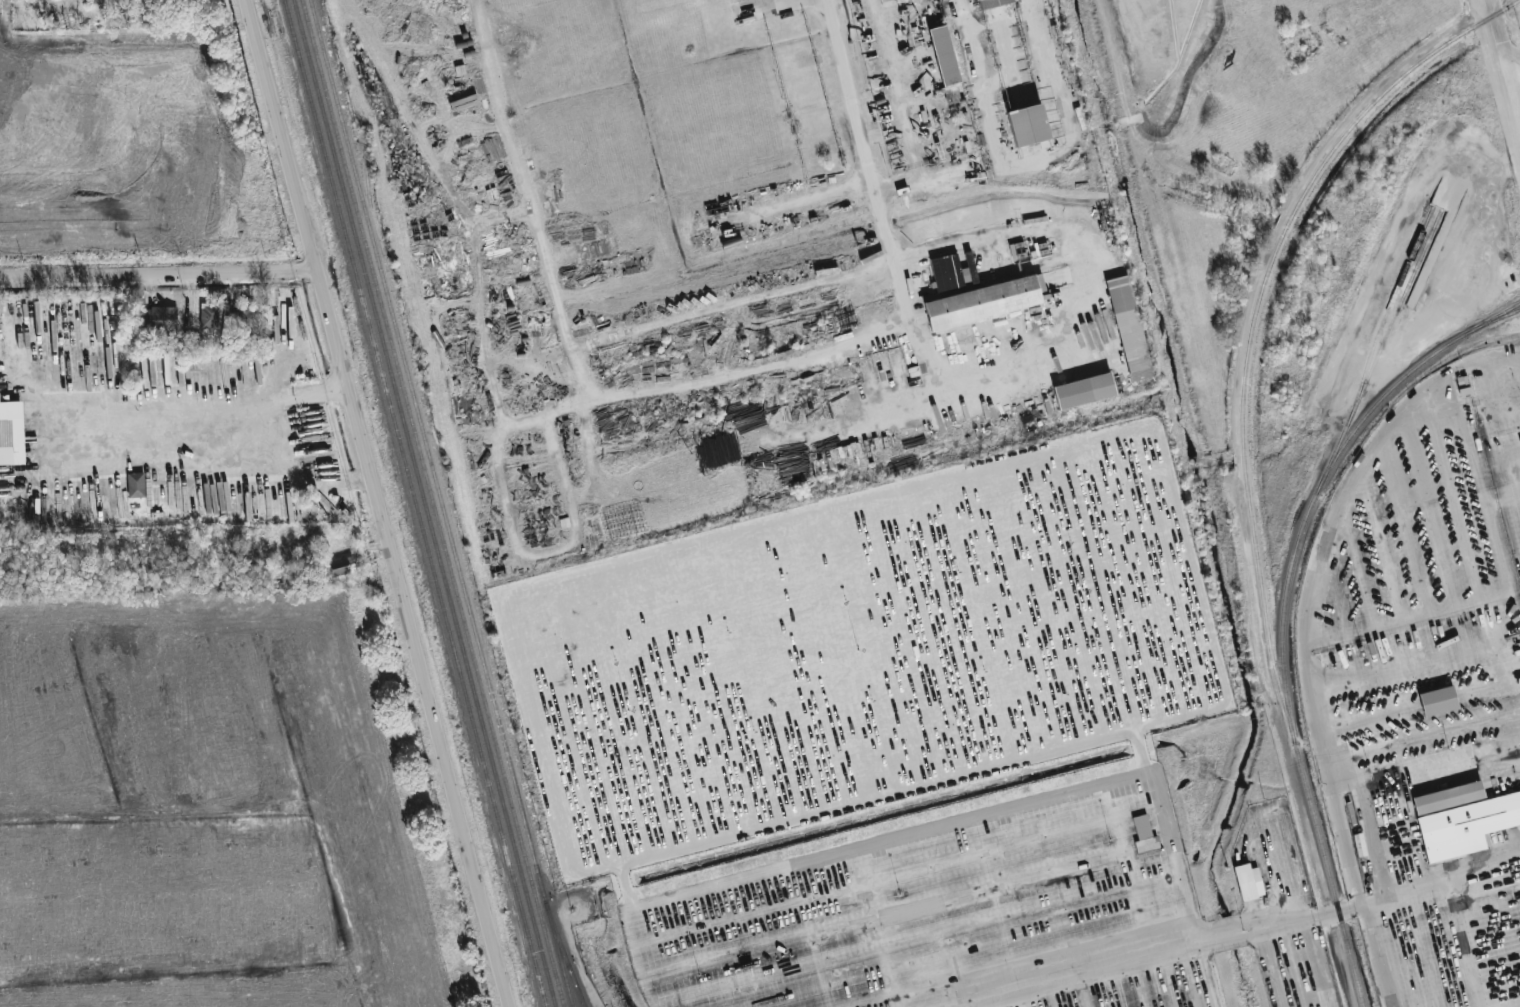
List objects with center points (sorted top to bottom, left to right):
building: (884, 1)
building: (985, 2)
road: (973, 50)
building: (944, 55)
road: (1503, 64)
road: (1512, 67)
road: (964, 108)
road: (1518, 112)
building: (1028, 124)
road: (825, 204)
road: (1400, 247)
road: (899, 256)
road: (158, 271)
building: (953, 274)
building: (984, 302)
road: (744, 304)
railway: (1401, 307)
railway: (1256, 312)
building: (208, 315)
building: (159, 317)
railway: (1498, 318)
building: (1129, 327)
railway: (1475, 328)
railway: (1376, 340)
road: (586, 353)
road: (1499, 388)
building: (1084, 390)
road: (203, 418)
building: (11, 433)
railway: (432, 460)
building: (135, 484)
road: (379, 503)
railway: (415, 503)
railway: (423, 503)
railway: (433, 503)
railway: (1305, 520)
building: (339, 567)
building: (1438, 700)
road: (1271, 806)
road: (1341, 814)
building: (1462, 818)
building: (1143, 833)
road: (856, 846)
railway: (1328, 867)
road: (1439, 873)
building: (1248, 882)
road: (1340, 913)
road: (1140, 916)
road: (1299, 926)
road: (1463, 939)
road: (576, 956)
road: (1376, 957)
road: (1341, 961)
railway: (563, 964)
railway: (568, 964)
road: (1134, 967)
road: (1266, 971)
road: (1210, 978)
railway: (581, 998)

